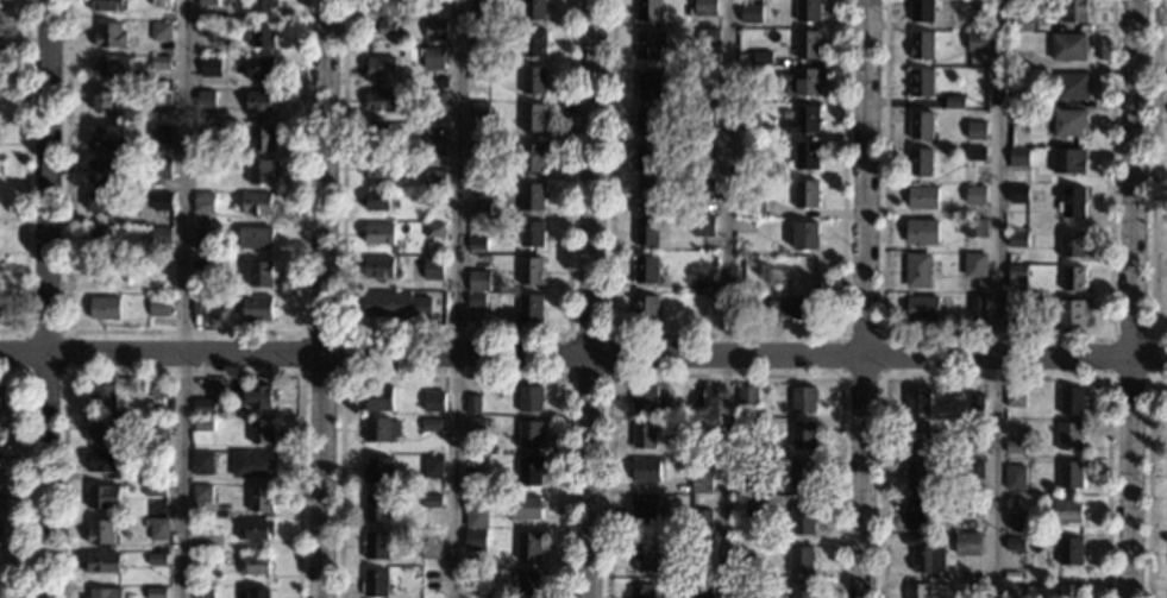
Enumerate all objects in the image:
building: (207, 2)
building: (161, 4)
building: (108, 5)
building: (261, 6)
building: (705, 7)
building: (478, 8)
building: (532, 10)
building: (647, 10)
building: (807, 10)
building: (922, 10)
building: (1075, 10)
building: (387, 13)
building: (751, 13)
building: (153, 17)
building: (958, 19)
building: (1023, 23)
building: (205, 27)
building: (434, 30)
building: (161, 31)
building: (261, 34)
building: (479, 36)
building: (109, 37)
building: (707, 39)
building: (978, 40)
building: (533, 43)
building: (648, 44)
building: (805, 44)
building: (921, 44)
building: (1068, 46)
building: (433, 57)
building: (761, 57)
building: (1021, 59)
building: (161, 62)
building: (114, 65)
building: (209, 65)
building: (259, 68)
building: (379, 68)
building: (479, 71)
building: (707, 78)
building: (533, 80)
building: (802, 81)
building: (921, 82)
building: (648, 83)
building: (1072, 86)
building: (705, 96)
building: (205, 99)
building: (437, 100)
building: (1029, 100)
building: (161, 101)
building: (259, 101)
building: (381, 101)
building: (954, 101)
building: (101, 102)
building: (478, 111)
building: (705, 115)
building: (748, 115)
building: (532, 117)
building: (802, 119)
building: (646, 121)
building: (1068, 121)
building: (920, 125)
building: (977, 130)
building: (159, 133)
building: (379, 133)
building: (209, 134)
building: (107, 138)
building: (261, 138)
building: (434, 146)
building: (478, 150)
building: (704, 151)
building: (975, 153)
building: (805, 156)
building: (1018, 156)
building: (531, 157)
building: (647, 157)
building: (1069, 160)
building: (920, 162)
building: (206, 165)
building: (379, 168)
building: (159, 169)
building: (107, 170)
building: (261, 171)
road: (25, 176)
road: (1152, 176)
building: (434, 178)
building: (702, 185)
building: (1018, 193)
building: (646, 194)
building: (805, 194)
building: (975, 195)
building: (531, 196)
building: (923, 197)
building: (376, 200)
building: (162, 201)
building: (100, 202)
building: (203, 202)
building: (1074, 202)
building: (257, 203)
building: (752, 206)
building: (479, 208)
building: (702, 226)
building: (975, 227)
building: (432, 229)
building: (646, 231)
building: (921, 232)
building: (531, 233)
building: (378, 234)
building: (805, 235)
building: (161, 237)
building: (205, 237)
building: (256, 238)
building: (100, 239)
building: (1017, 239)
building: (476, 244)
building: (1073, 245)
building: (975, 265)
building: (378, 267)
building: (432, 267)
building: (646, 269)
building: (203, 270)
building: (529, 270)
building: (917, 270)
building: (804, 271)
building: (1016, 271)
building: (259, 273)
building: (747, 276)
building: (1074, 278)
building: (477, 279)
road: (46, 298)
road: (183, 298)
road: (318, 298)
road: (456, 298)
road: (585, 298)
road: (864, 298)
road: (995, 298)
road: (1135, 298)
building: (475, 300)
road: (726, 300)
building: (197, 304)
building: (395, 304)
building: (977, 304)
building: (158, 307)
building: (1016, 307)
building: (103, 308)
building: (256, 308)
building: (529, 308)
building: (791, 308)
building: (922, 308)
building: (645, 309)
building: (1072, 311)
road: (182, 332)
road: (341, 332)
road: (456, 333)
road: (724, 333)
road: (996, 335)
road: (583, 352)
road: (62, 371)
road: (181, 372)
road: (452, 372)
road: (607, 373)
road: (722, 373)
road: (879, 373)
road: (993, 373)
road: (1149, 376)
building: (155, 389)
building: (747, 395)
building: (258, 396)
building: (702, 396)
building: (102, 397)
building: (647, 397)
building: (1015, 397)
building: (378, 398)
building: (529, 398)
building: (803, 399)
building: (918, 399)
building: (432, 401)
building: (1072, 401)
building: (977, 403)
building: (471, 404)
building: (203, 407)
building: (488, 422)
building: (429, 423)
building: (475, 423)
building: (202, 424)
building: (703, 428)
building: (746, 428)
building: (103, 429)
building: (379, 429)
building: (261, 432)
building: (528, 434)
building: (802, 434)
building: (642, 435)
building: (157, 436)
building: (917, 436)
building: (1069, 436)
building: (973, 438)
building: (1015, 447)
building: (101, 461)
building: (201, 462)
building: (252, 464)
building: (431, 467)
building: (972, 467)
building: (378, 470)
building: (645, 470)
building: (528, 471)
road: (21, 473)
building: (801, 473)
building: (916, 473)
building: (146, 474)
building: (1071, 474)
building: (1015, 477)
road: (1149, 478)
building: (701, 483)
building: (745, 483)
building: (153, 490)
building: (201, 493)
building: (101, 497)
building: (259, 499)
building: (431, 501)
building: (753, 505)
building: (525, 506)
building: (375, 508)
building: (968, 508)
building: (645, 510)
building: (1069, 511)
building: (917, 512)
building: (475, 517)
building: (702, 518)
building: (803, 520)
building: (1018, 521)
building: (145, 522)
building: (158, 529)
building: (256, 529)
building: (100, 533)
building: (475, 540)
building: (1015, 542)
building: (967, 543)
building: (376, 546)
building: (527, 546)
building: (429, 549)
building: (1071, 550)
building: (644, 553)
building: (922, 554)
building: (156, 559)
building: (744, 560)
building: (801, 560)
building: (101, 562)
building: (202, 562)
building: (255, 565)
building: (375, 583)
building: (527, 585)
building: (699, 588)
building: (640, 590)
building: (744, 590)
building: (802, 590)
building: (917, 591)
building: (971, 591)
building: (1069, 591)
building: (0, 592)
building: (155, 592)
building: (257, 592)
building: (105, 593)
building: (203, 593)

